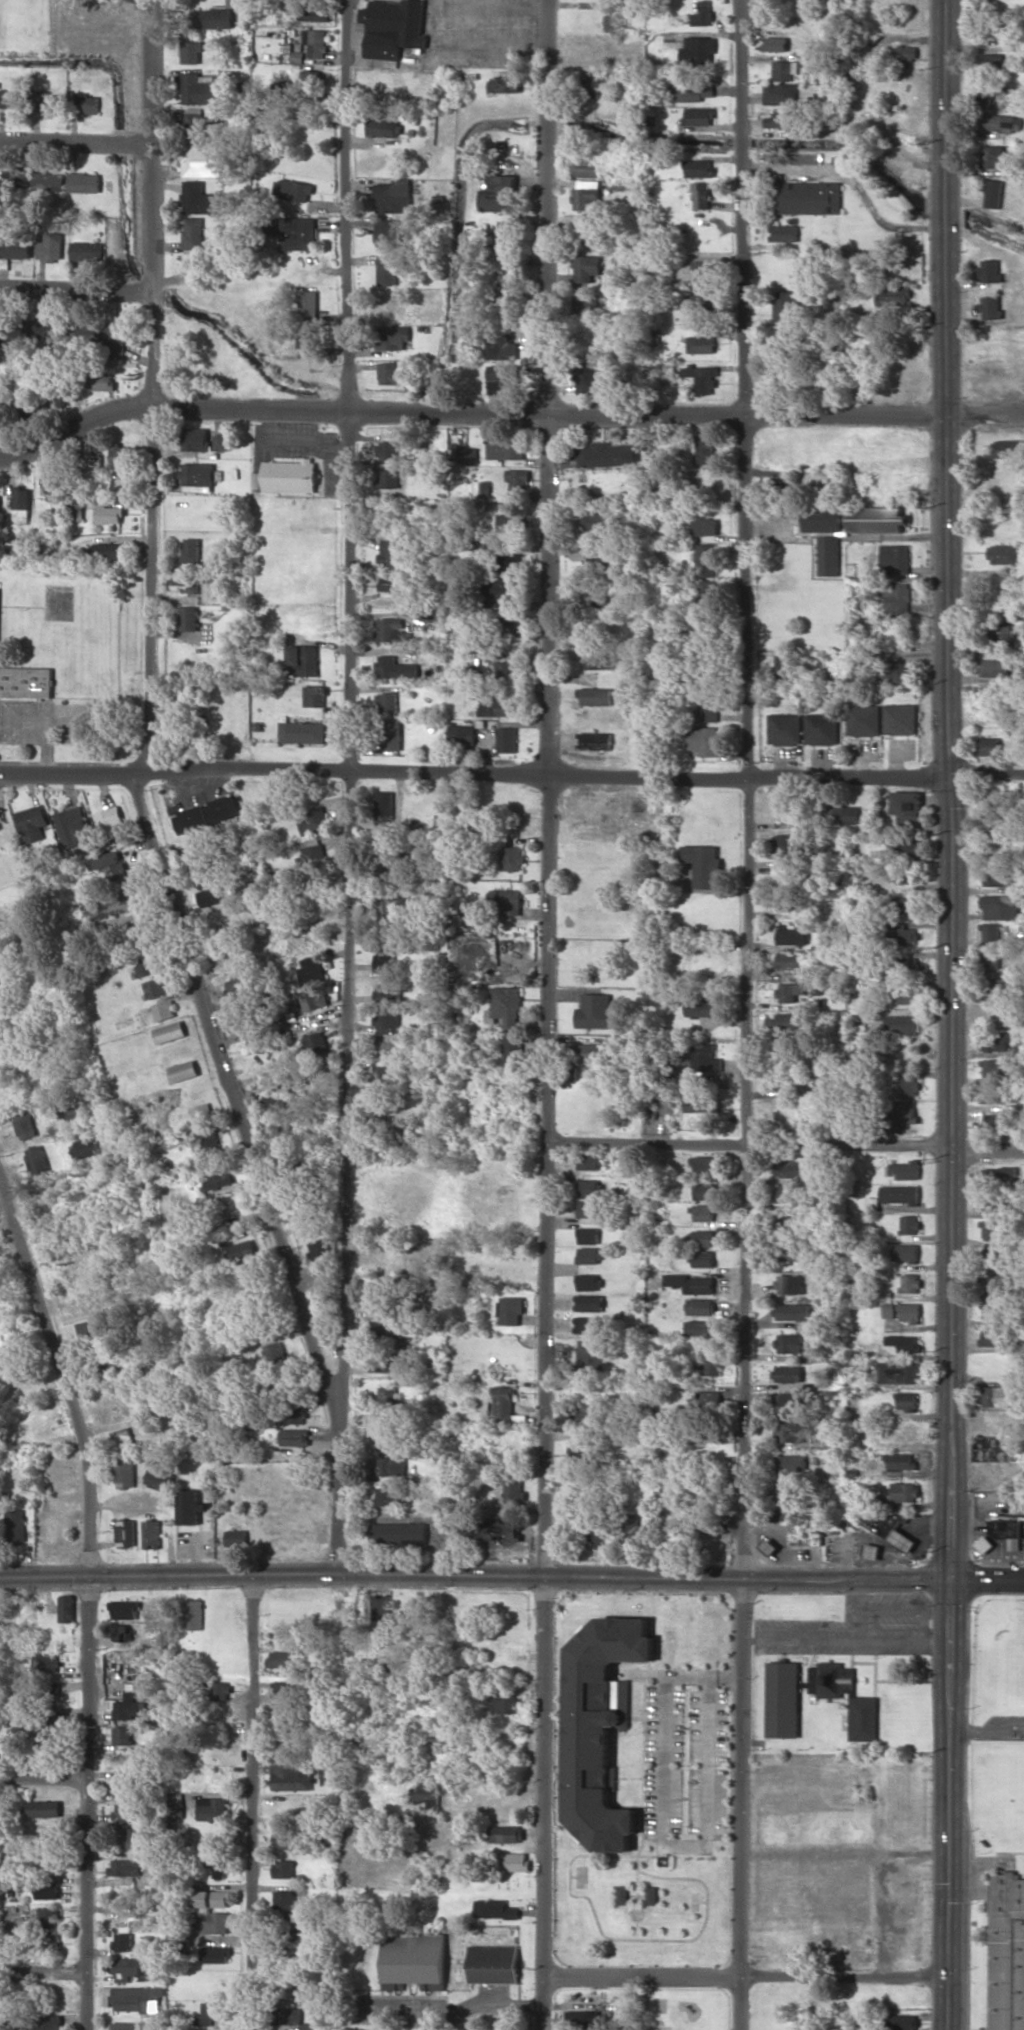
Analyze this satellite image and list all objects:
building: (315, 13)
building: (705, 14)
building: (213, 18)
building: (394, 27)
building: (317, 42)
building: (776, 43)
building: (701, 49)
building: (589, 50)
building: (192, 51)
building: (906, 55)
building: (990, 60)
building: (785, 69)
building: (313, 78)
building: (505, 84)
building: (592, 86)
building: (199, 88)
building: (692, 91)
building: (781, 93)
building: (985, 97)
building: (11, 98)
building: (47, 101)
building: (87, 103)
building: (699, 116)
building: (789, 118)
building: (1003, 122)
building: (198, 124)
building: (385, 127)
road: (76, 146)
building: (995, 156)
building: (203, 160)
building: (586, 168)
building: (699, 168)
building: (17, 178)
building: (51, 181)
building: (84, 182)
building: (294, 190)
building: (994, 193)
building: (499, 194)
building: (701, 195)
building: (808, 196)
building: (395, 197)
building: (587, 197)
building: (200, 198)
road: (152, 203)
building: (193, 233)
building: (299, 233)
building: (785, 233)
building: (386, 234)
building: (503, 235)
building: (588, 235)
building: (50, 246)
building: (22, 248)
building: (85, 252)
building: (588, 267)
building: (702, 268)
building: (388, 270)
building: (990, 270)
road: (75, 288)
building: (892, 294)
building: (700, 302)
building: (590, 303)
building: (786, 305)
building: (510, 306)
building: (990, 306)
building: (307, 317)
building: (45, 328)
building: (4, 330)
building: (85, 331)
building: (120, 337)
building: (395, 337)
building: (784, 337)
building: (700, 344)
building: (392, 374)
building: (589, 375)
building: (502, 378)
building: (702, 378)
building: (101, 379)
road: (946, 386)
building: (0, 401)
road: (588, 412)
road: (76, 427)
building: (195, 439)
building: (221, 442)
building: (505, 447)
building: (1009, 448)
building: (704, 449)
building: (388, 450)
building: (120, 454)
building: (609, 454)
building: (467, 455)
building: (94, 464)
building: (289, 475)
building: (389, 478)
building: (517, 482)
building: (54, 485)
building: (0, 493)
building: (22, 504)
building: (77, 508)
building: (110, 514)
building: (877, 519)
building: (596, 520)
building: (510, 523)
building: (705, 526)
building: (191, 549)
building: (109, 551)
building: (394, 551)
building: (1001, 553)
building: (828, 555)
building: (894, 558)
building: (705, 559)
building: (597, 561)
building: (392, 584)
building: (185, 585)
building: (502, 586)
road: (152, 593)
building: (706, 595)
building: (1004, 597)
building: (897, 600)
building: (188, 618)
building: (506, 626)
building: (1006, 627)
building: (391, 629)
building: (709, 635)
building: (302, 660)
building: (600, 660)
building: (782, 665)
building: (396, 667)
building: (994, 668)
building: (505, 670)
building: (707, 671)
building: (893, 672)
building: (26, 682)
building: (314, 696)
building: (595, 696)
building: (388, 702)
building: (494, 704)
building: (708, 709)
building: (900, 718)
building: (863, 720)
building: (785, 728)
building: (821, 729)
building: (302, 732)
building: (392, 733)
building: (462, 734)
building: (507, 739)
building: (595, 740)
building: (703, 740)
building: (990, 745)
road: (474, 771)
road: (986, 772)
building: (995, 796)
building: (907, 808)
building: (384, 809)
building: (208, 814)
building: (841, 815)
building: (0, 817)
road: (349, 817)
building: (313, 820)
building: (110, 822)
building: (33, 823)
building: (480, 825)
building: (74, 826)
building: (784, 846)
building: (998, 849)
building: (312, 851)
building: (514, 858)
building: (906, 859)
building: (393, 860)
building: (109, 861)
building: (191, 863)
building: (704, 864)
building: (784, 876)
building: (996, 877)
building: (209, 896)
building: (508, 900)
building: (789, 900)
building: (905, 905)
building: (1001, 906)
building: (994, 932)
building: (905, 933)
building: (793, 935)
building: (384, 958)
building: (994, 959)
building: (794, 962)
building: (904, 964)
building: (145, 965)
building: (312, 969)
building: (240, 985)
building: (155, 987)
building: (999, 989)
building: (389, 990)
building: (792, 991)
building: (906, 994)
building: (313, 1000)
building: (505, 1007)
building: (702, 1008)
building: (164, 1010)
building: (595, 1011)
road: (548, 1014)
road: (748, 1015)
building: (388, 1020)
building: (787, 1020)
building: (903, 1024)
building: (170, 1032)
building: (996, 1039)
building: (318, 1045)
building: (590, 1052)
building: (512, 1054)
building: (707, 1058)
building: (998, 1068)
building: (184, 1070)
building: (909, 1085)
building: (994, 1094)
building: (697, 1099)
road: (238, 1100)
building: (277, 1102)
building: (71, 1107)
building: (202, 1113)
building: (905, 1114)
building: (994, 1122)
building: (26, 1124)
building: (207, 1141)
road: (749, 1144)
building: (86, 1147)
road: (987, 1148)
building: (37, 1160)
building: (591, 1161)
building: (703, 1164)
building: (790, 1169)
building: (904, 1170)
building: (218, 1179)
building: (589, 1187)
building: (704, 1191)
building: (789, 1194)
building: (899, 1194)
building: (589, 1208)
building: (703, 1212)
building: (909, 1224)
building: (990, 1228)
building: (589, 1235)
building: (703, 1238)
building: (319, 1247)
building: (239, 1252)
building: (788, 1252)
building: (907, 1252)
building: (995, 1254)
building: (590, 1255)
building: (704, 1258)
building: (322, 1268)
building: (590, 1282)
building: (997, 1282)
building: (690, 1283)
building: (789, 1283)
building: (910, 1283)
building: (381, 1301)
building: (591, 1302)
building: (701, 1306)
building: (512, 1309)
building: (888, 1310)
building: (991, 1310)
building: (793, 1311)
building: (909, 1312)
building: (590, 1325)
building: (699, 1328)
building: (380, 1331)
building: (992, 1337)
building: (798, 1341)
building: (904, 1342)
building: (590, 1356)
building: (385, 1363)
building: (715, 1366)
building: (112, 1367)
building: (899, 1372)
building: (789, 1374)
building: (388, 1395)
building: (996, 1396)
building: (707, 1399)
building: (907, 1401)
road: (951, 1401)
building: (115, 1403)
building: (787, 1403)
building: (505, 1404)
building: (582, 1411)
building: (297, 1415)
building: (788, 1432)
building: (902, 1432)
building: (294, 1436)
building: (390, 1436)
building: (122, 1438)
building: (581, 1450)
building: (900, 1460)
building: (790, 1463)
building: (391, 1467)
building: (125, 1473)
building: (159, 1479)
building: (717, 1490)
building: (904, 1491)
building: (785, 1492)
building: (514, 1493)
building: (395, 1496)
building: (191, 1506)
building: (18, 1526)
building: (633, 1527)
building: (804, 1528)
building: (892, 1529)
building: (501, 1531)
building: (1006, 1531)
building: (402, 1532)
building: (126, 1533)
building: (152, 1533)
building: (52, 1534)
building: (595, 1534)
building: (237, 1538)
building: (984, 1543)
road: (512, 1574)
road: (90, 1592)
building: (68, 1609)
building: (125, 1609)
building: (382, 1611)
building: (194, 1614)
building: (121, 1632)
road: (846, 1635)
building: (282, 1659)
building: (47, 1662)
building: (49, 1688)
building: (289, 1689)
building: (222, 1690)
building: (783, 1699)
building: (506, 1702)
building: (129, 1709)
building: (286, 1718)
building: (863, 1718)
building: (601, 1727)
road: (986, 1732)
building: (122, 1735)
building: (287, 1744)
road: (845, 1756)
building: (292, 1778)
road: (45, 1784)
road: (644, 1787)
building: (427, 1794)
road: (255, 1801)
building: (46, 1808)
building: (214, 1808)
building: (126, 1812)
building: (507, 1833)
building: (131, 1838)
building: (289, 1840)
road: (845, 1852)
building: (515, 1861)
building: (218, 1864)
building: (126, 1867)
building: (285, 1868)
building: (49, 1889)
building: (622, 1895)
building: (651, 1895)
building: (212, 1898)
building: (291, 1900)
building: (496, 1908)
building: (51, 1916)
building: (211, 1922)
building: (44, 1942)
building: (124, 1942)
building: (1007, 1953)
building: (216, 1954)
building: (416, 1957)
building: (494, 1963)
building: (128, 1968)
road: (43, 1974)
road: (707, 1978)
building: (137, 1998)
building: (212, 2011)
building: (292, 2016)
building: (582, 2019)
building: (48, 2022)
building: (902, 2022)
building: (127, 2026)

